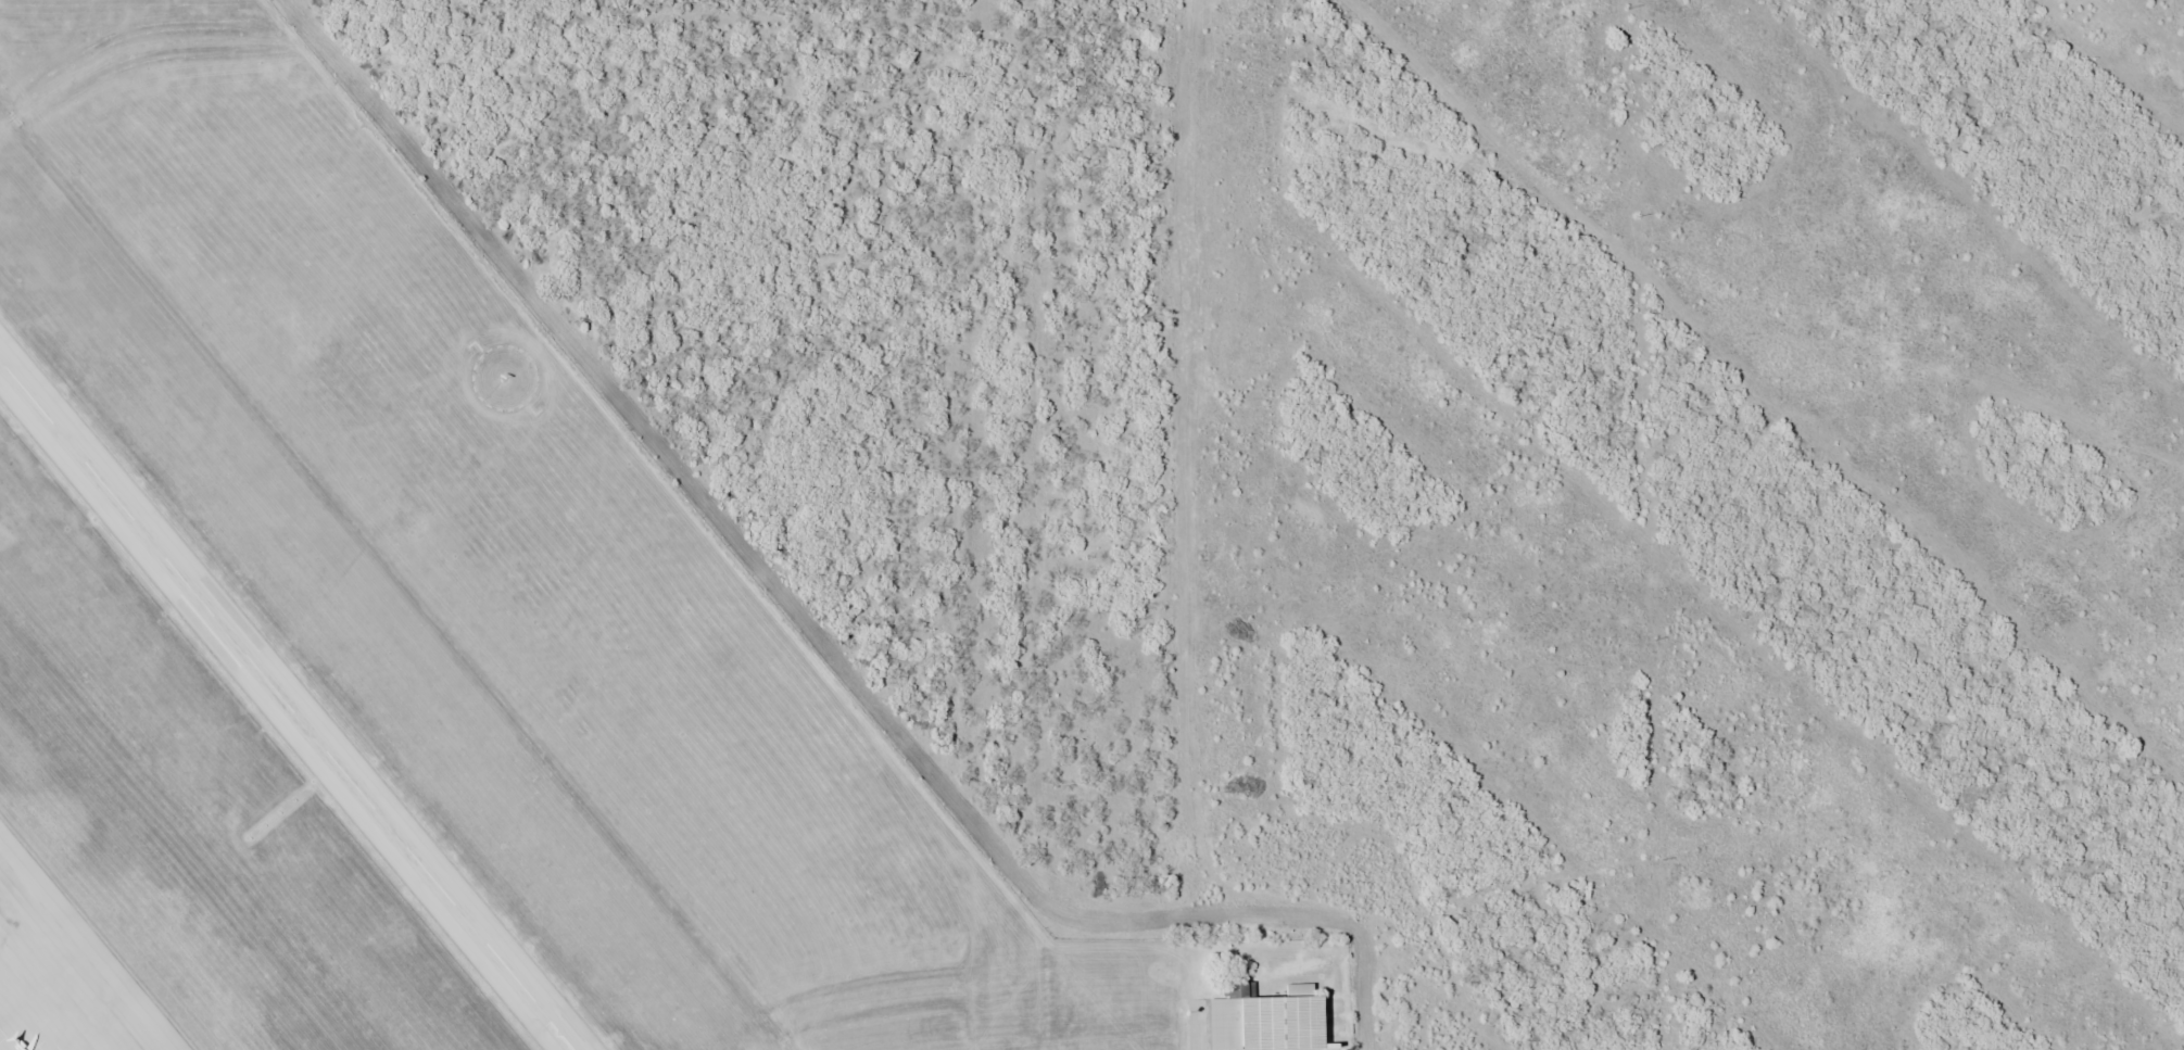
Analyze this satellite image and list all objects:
airport runway: (292, 700)
airport runway: (286, 704)
airport apron: (58, 981)
building: (1284, 1013)

